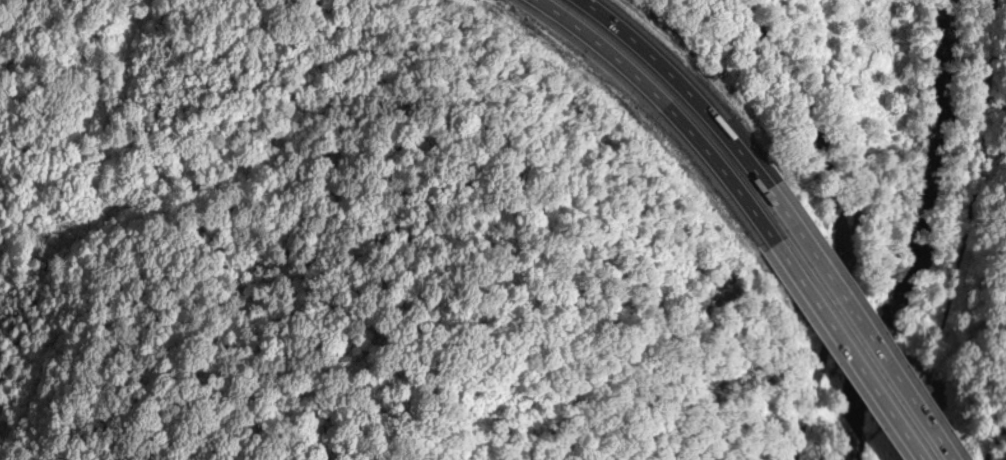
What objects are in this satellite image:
road: (664, 67)
road: (788, 75)
road: (666, 104)
river: (919, 234)
road: (845, 301)
road: (838, 311)
road: (844, 348)

